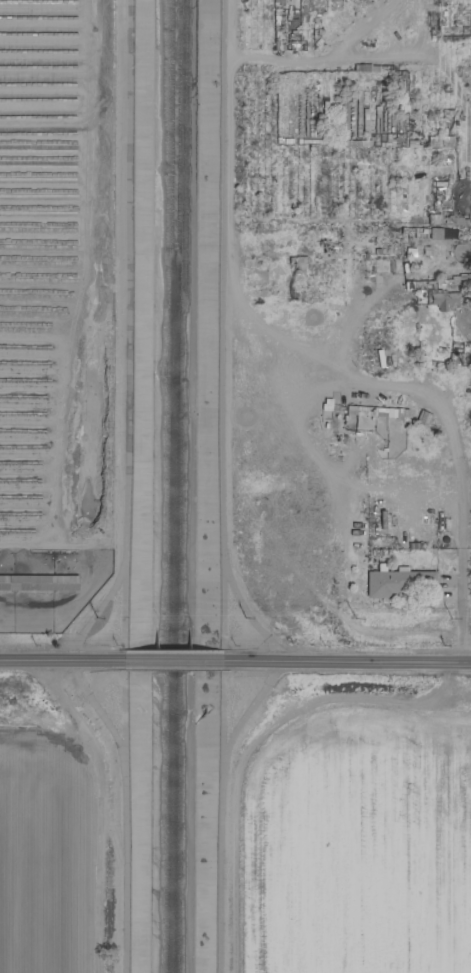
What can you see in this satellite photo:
building: (346, 4)
building: (430, 112)
building: (441, 300)
building: (408, 330)
road: (431, 395)
building: (399, 580)
road: (460, 618)
road: (70, 659)
road: (178, 660)
road: (343, 665)
crop: (61, 823)

